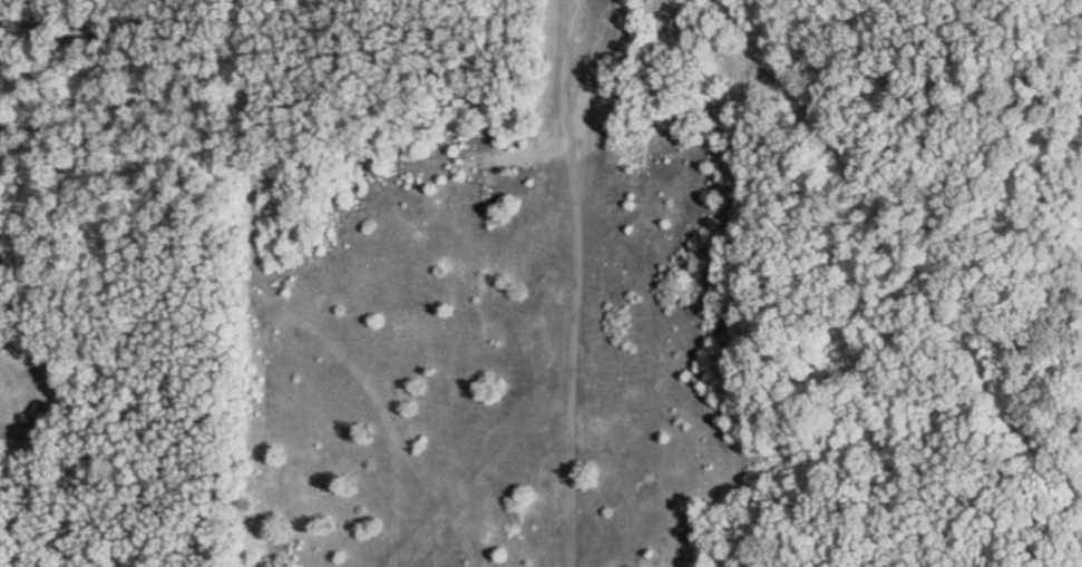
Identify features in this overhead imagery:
wastewater plant: (1080, 52)

